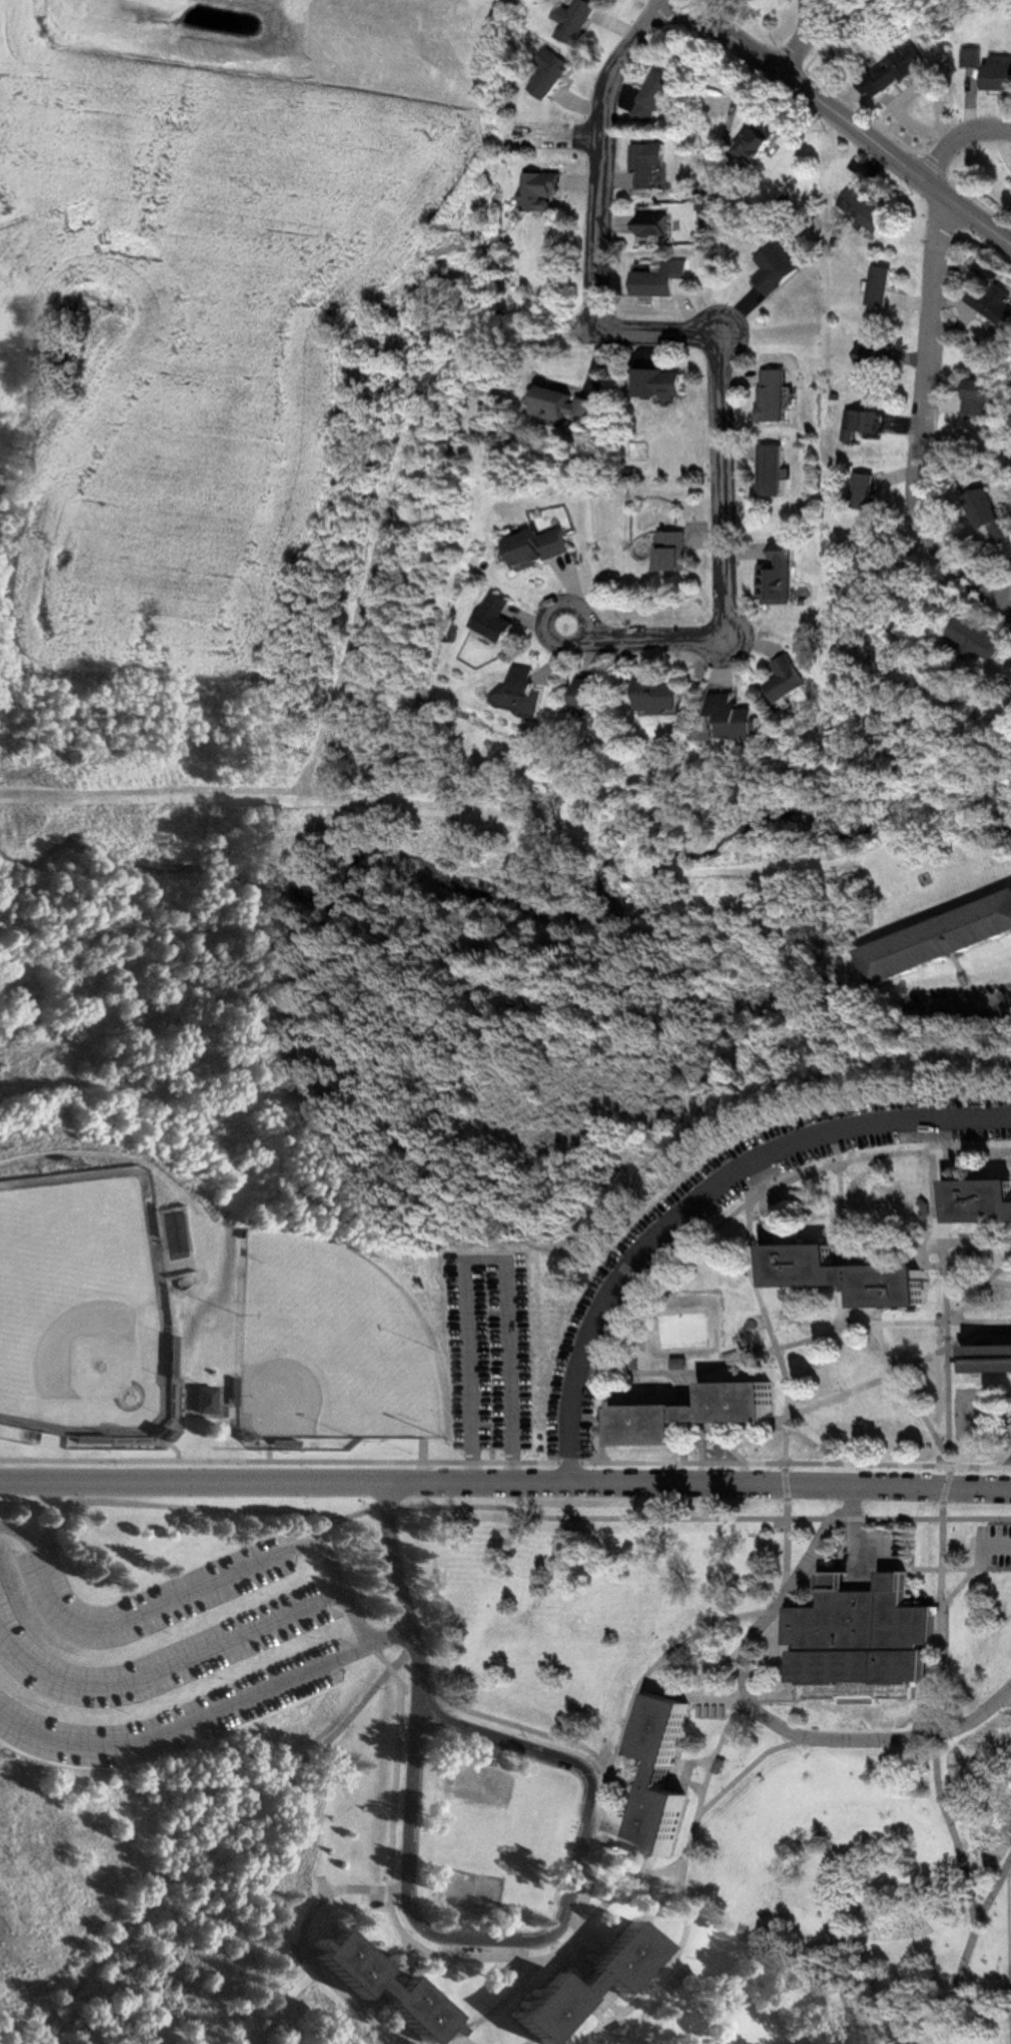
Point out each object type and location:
building: (580, 21)
road: (814, 41)
building: (975, 57)
building: (906, 66)
building: (1001, 74)
building: (557, 78)
building: (877, 92)
building: (658, 96)
road: (848, 118)
building: (764, 143)
road: (959, 143)
road: (601, 155)
building: (649, 164)
building: (546, 190)
building: (867, 210)
building: (659, 223)
building: (778, 269)
building: (664, 279)
building: (884, 286)
building: (1000, 306)
road: (659, 331)
building: (875, 355)
building: (663, 384)
building: (776, 397)
building: (986, 398)
building: (568, 409)
road: (925, 415)
building: (865, 424)
building: (775, 472)
building: (868, 492)
building: (994, 517)
building: (545, 546)
building: (675, 550)
road: (727, 567)
building: (784, 575)
building: (503, 618)
building: (984, 639)
building: (794, 679)
building: (525, 690)
building: (597, 696)
building: (664, 696)
building: (743, 716)
building: (941, 940)
road: (418, 962)
road: (964, 1006)
road: (951, 1134)
road: (846, 1193)
road: (702, 1200)
building: (985, 1200)
road: (734, 1217)
road: (929, 1246)
road: (497, 1260)
road: (979, 1274)
building: (852, 1276)
parking lot: (625, 1277)
road: (761, 1285)
road: (981, 1291)
park: (77, 1296)
road: (947, 1308)
road: (842, 1312)
park: (695, 1333)
road: (811, 1340)
park: (327, 1345)
building: (992, 1354)
parking lot: (496, 1355)
road: (899, 1371)
building: (202, 1400)
road: (793, 1405)
building: (698, 1414)
park: (985, 1419)
road: (712, 1430)
road: (811, 1440)
road: (1004, 1459)
road: (505, 1462)
road: (949, 1463)
road: (505, 1482)
road: (194, 1508)
road: (663, 1519)
road: (977, 1519)
road: (863, 1535)
road: (791, 1541)
parking lot: (994, 1544)
parking lot: (889, 1546)
road: (997, 1546)
road: (942, 1569)
road: (974, 1573)
road: (814, 1580)
road: (398, 1595)
road: (162, 1601)
road: (790, 1613)
road: (946, 1618)
road: (943, 1642)
building: (870, 1643)
road: (213, 1644)
parking lot: (156, 1653)
road: (660, 1662)
road: (796, 1668)
road: (722, 1672)
road: (776, 1699)
road: (1009, 1701)
road: (724, 1702)
road: (766, 1712)
road: (186, 1724)
road: (551, 1754)
road: (720, 1756)
road: (679, 1765)
building: (666, 1777)
park: (485, 1783)
road: (956, 1828)
road: (206, 1832)
road: (598, 1841)
road: (642, 1866)
road: (624, 1884)
road: (688, 1884)
road: (319, 1887)
park: (472, 1891)
road: (666, 1893)
road: (644, 1922)
road: (302, 1946)
road: (972, 1953)
road: (537, 1959)
building: (585, 1985)
building: (383, 1987)
road: (496, 2005)
road: (451, 2035)
road: (464, 2040)

